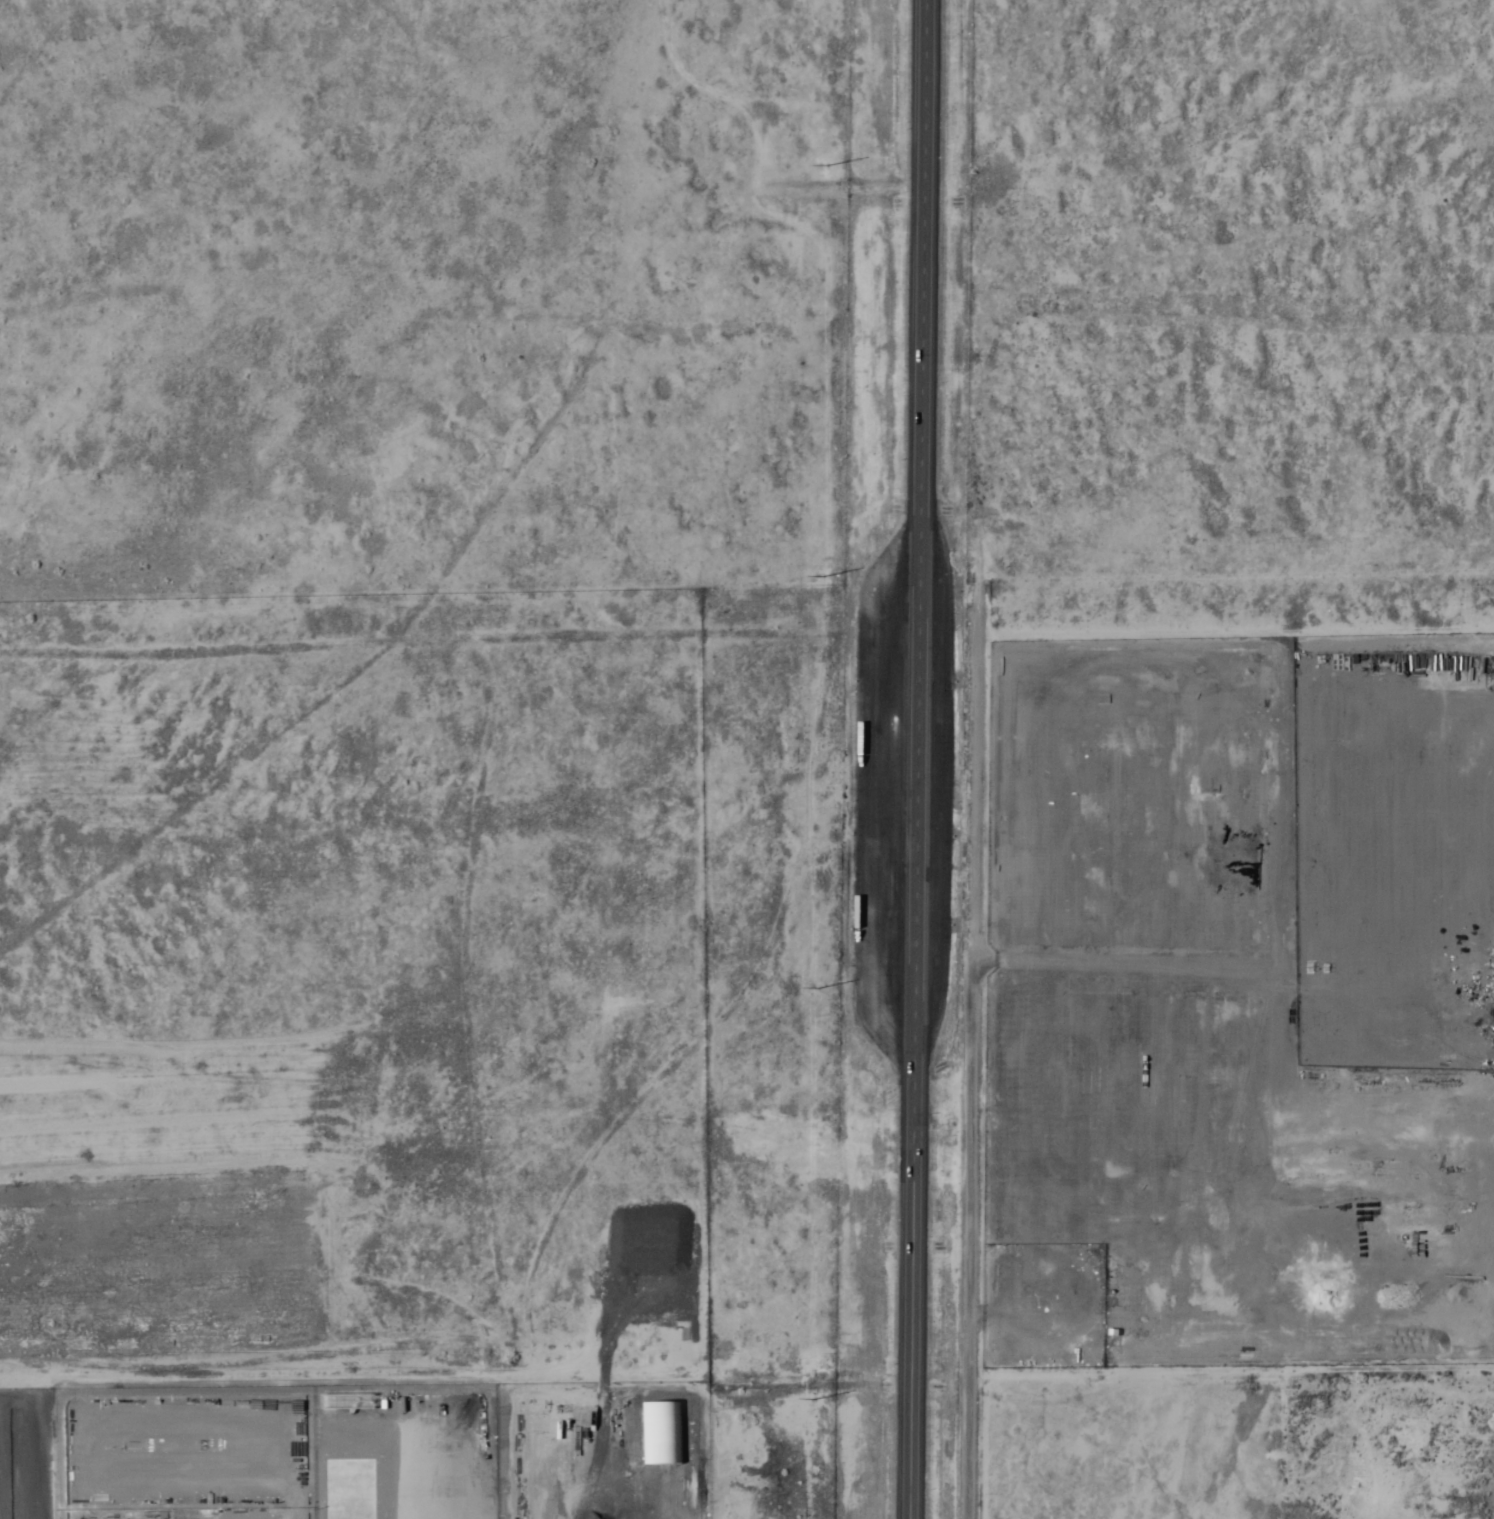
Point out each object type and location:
road: (922, 190)
road: (912, 949)
building: (345, 1401)
building: (660, 1432)

